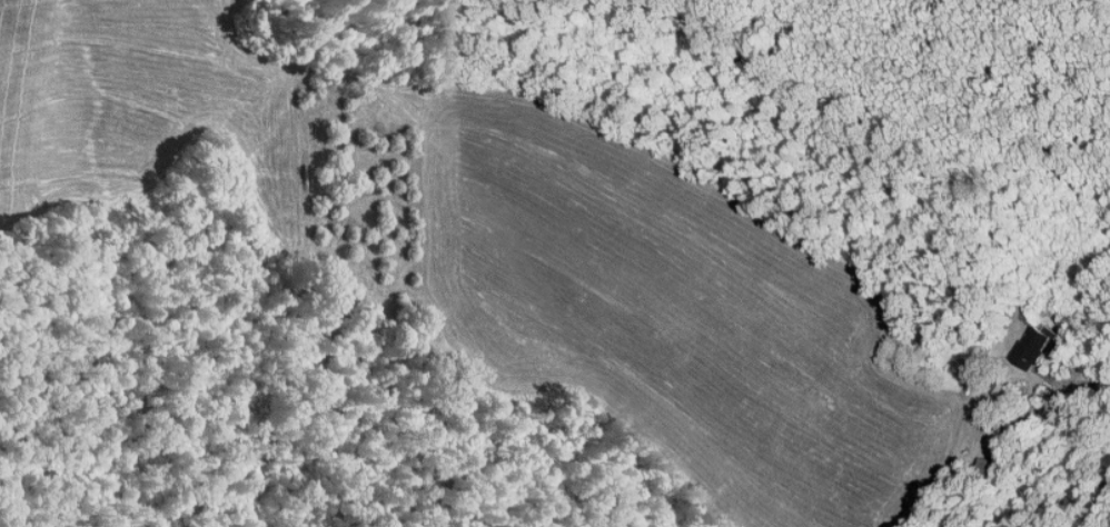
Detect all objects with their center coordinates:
building: (1022, 339)
road: (1088, 382)
road: (1106, 518)

